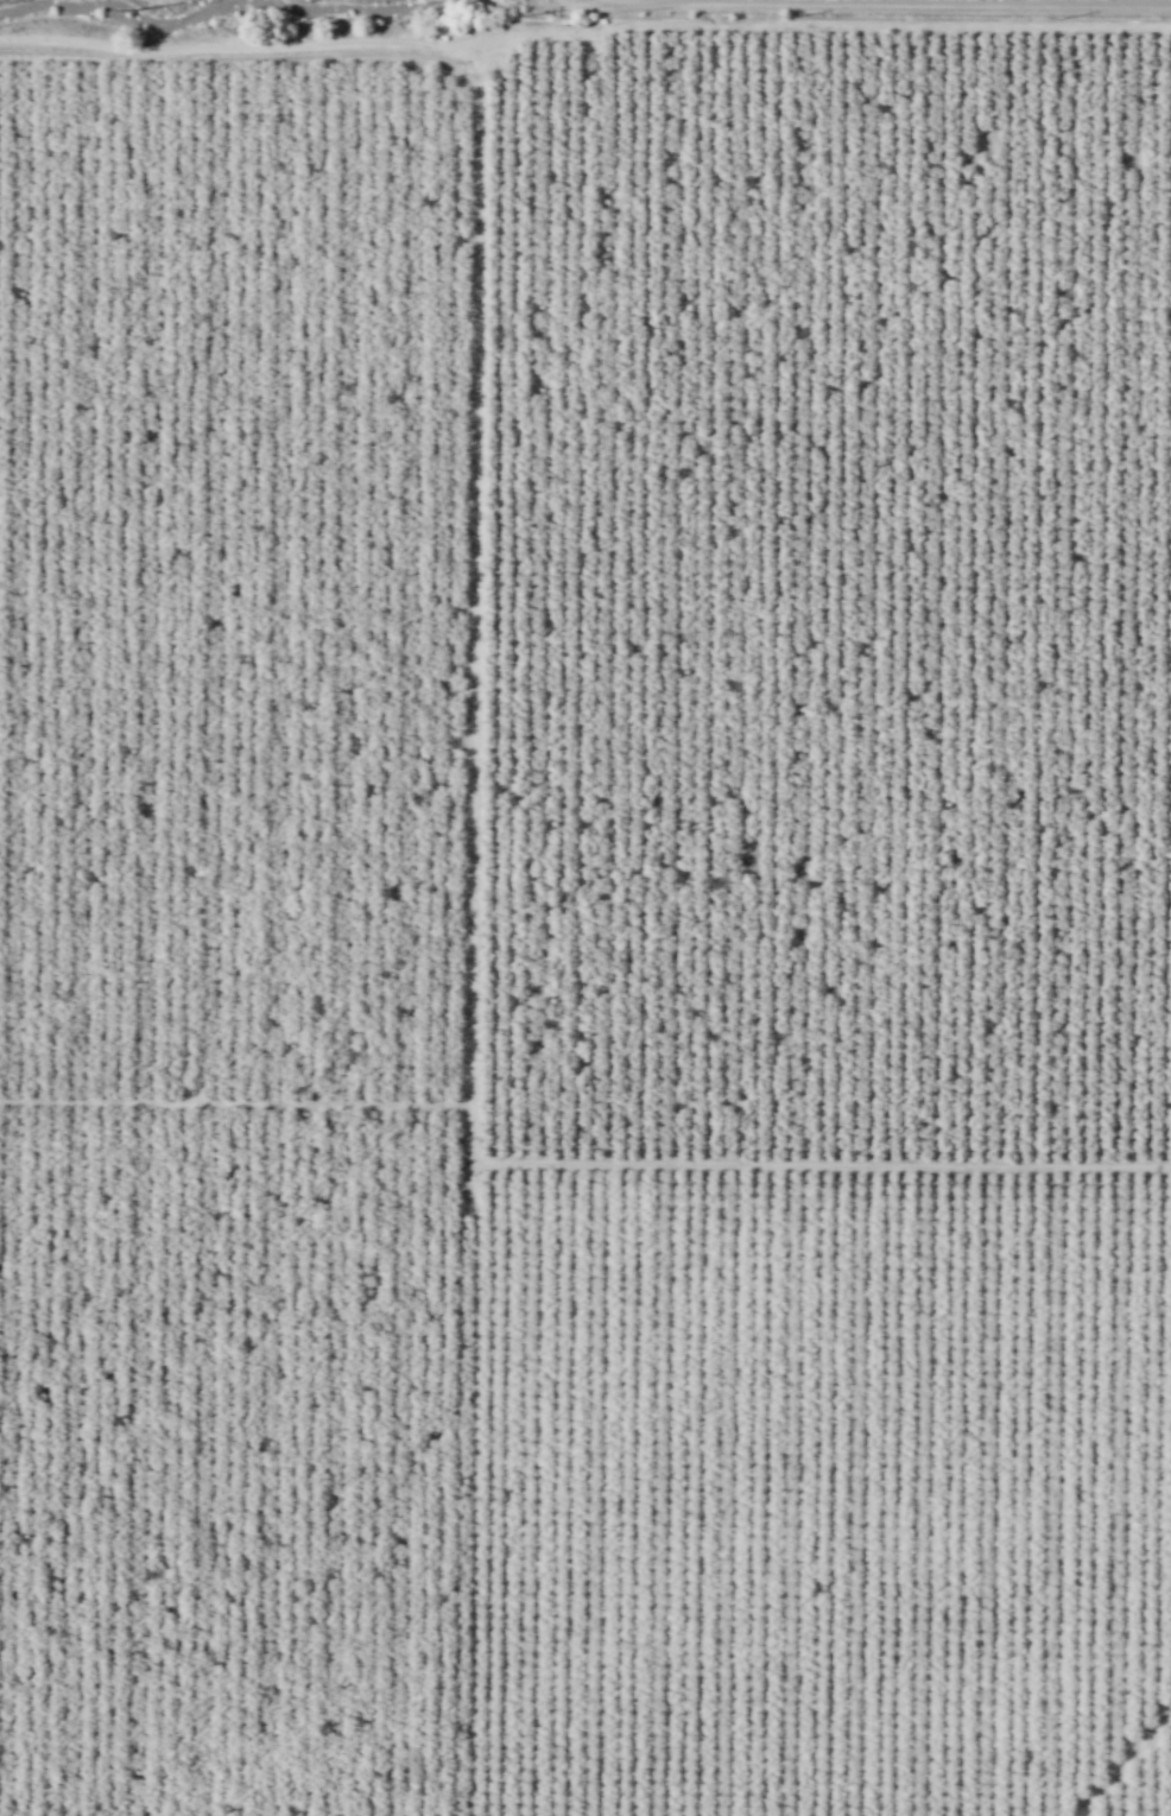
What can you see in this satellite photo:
road: (887, 4)
road: (823, 26)
road: (239, 45)
road: (475, 624)
road: (236, 1102)
road: (822, 1164)
road: (1122, 1765)

